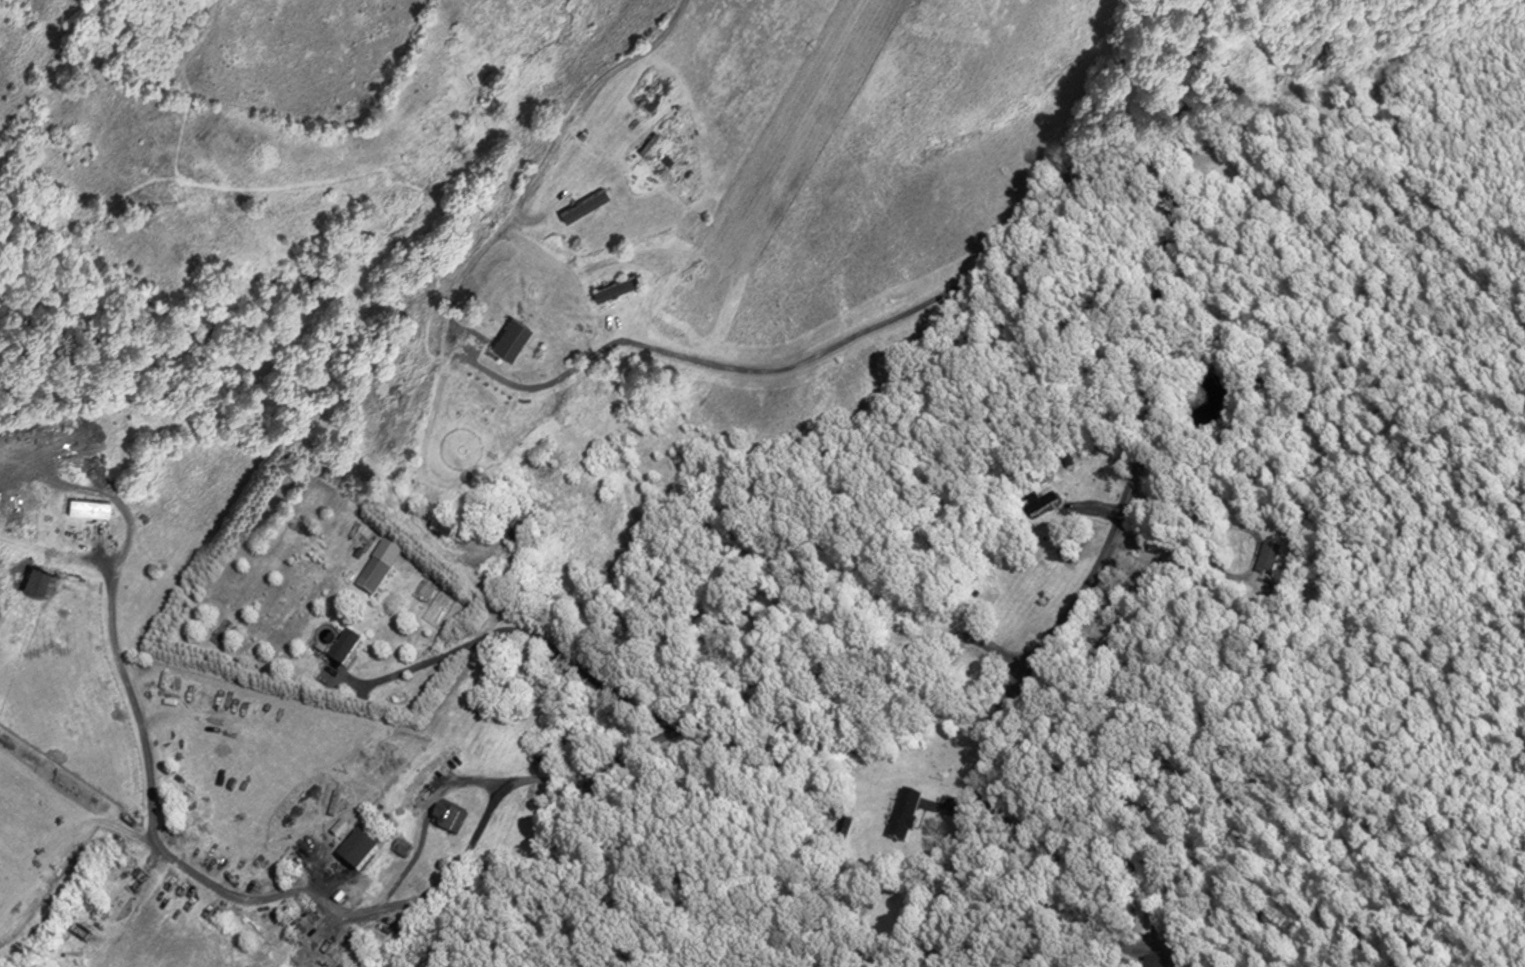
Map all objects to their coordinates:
building: (583, 195)
building: (584, 204)
building: (613, 287)
building: (511, 336)
road: (616, 343)
building: (510, 492)
road: (1127, 502)
building: (1042, 503)
building: (83, 505)
road: (1095, 508)
road: (1167, 509)
building: (439, 523)
building: (504, 524)
building: (1269, 556)
road: (1250, 569)
building: (368, 574)
building: (33, 581)
road: (512, 631)
building: (339, 646)
road: (766, 698)
road: (462, 781)
road: (947, 809)
building: (904, 815)
building: (444, 816)
road: (150, 824)
building: (842, 828)
building: (353, 850)
road: (1041, 905)
building: (1145, 920)
building: (1157, 961)

